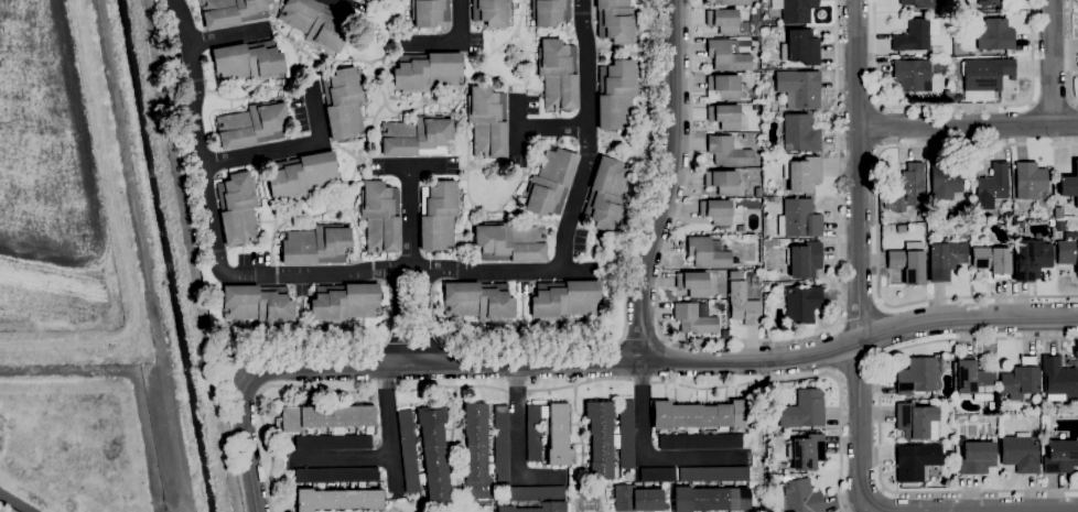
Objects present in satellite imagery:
building: (366, 0)
building: (367, 0)
road: (335, 2)
building: (732, 2)
building: (988, 2)
building: (920, 3)
road: (592, 9)
building: (753, 10)
building: (231, 11)
building: (797, 11)
building: (494, 12)
building: (550, 12)
building: (430, 13)
building: (616, 21)
building: (726, 21)
building: (315, 23)
building: (916, 34)
building: (995, 34)
road: (225, 36)
road: (454, 42)
building: (800, 47)
road: (1070, 53)
building: (726, 55)
building: (248, 62)
road: (1052, 62)
building: (427, 72)
building: (559, 73)
building: (987, 73)
building: (910, 74)
building: (724, 86)
building: (800, 87)
building: (616, 94)
building: (948, 95)
building: (343, 102)
road: (951, 106)
building: (756, 107)
building: (724, 116)
building: (487, 121)
building: (254, 124)
road: (968, 124)
road: (518, 126)
road: (553, 127)
road: (878, 127)
building: (800, 133)
road: (198, 135)
building: (417, 137)
road: (587, 137)
road: (290, 148)
building: (727, 151)
road: (412, 167)
building: (802, 174)
building: (301, 175)
building: (1030, 179)
building: (947, 181)
building: (550, 182)
road: (670, 182)
building: (722, 182)
building: (992, 184)
building: (1070, 184)
building: (907, 187)
park: (84, 193)
building: (607, 194)
building: (238, 208)
building: (716, 211)
building: (1058, 213)
building: (439, 215)
building: (380, 216)
road: (409, 218)
building: (799, 218)
road: (876, 226)
building: (1058, 226)
building: (741, 228)
building: (901, 228)
building: (509, 242)
building: (316, 244)
building: (1068, 250)
building: (708, 252)
road: (859, 255)
building: (945, 259)
building: (1030, 259)
building: (806, 260)
building: (991, 260)
building: (907, 264)
road: (617, 268)
road: (392, 269)
building: (693, 283)
building: (564, 299)
building: (479, 301)
building: (344, 302)
building: (258, 304)
building: (743, 304)
building: (802, 304)
road: (398, 316)
road: (422, 317)
road: (860, 317)
building: (693, 318)
building: (724, 333)
road: (642, 338)
road: (741, 340)
road: (311, 342)
road: (382, 346)
road: (442, 346)
road: (412, 347)
road: (837, 350)
road: (736, 360)
road: (858, 367)
road: (317, 370)
building: (917, 377)
building: (973, 379)
building: (1020, 379)
building: (1058, 379)
road: (487, 386)
building: (804, 410)
building: (700, 416)
building: (326, 418)
road: (880, 421)
building: (917, 421)
building: (277, 428)
road: (391, 432)
building: (533, 433)
building: (558, 434)
building: (626, 434)
road: (580, 436)
building: (1061, 436)
building: (601, 438)
building: (333, 442)
road: (517, 442)
building: (700, 442)
building: (500, 443)
road: (841, 444)
road: (248, 446)
road: (759, 447)
road: (452, 448)
building: (408, 450)
building: (806, 451)
road: (752, 453)
building: (1021, 453)
building: (433, 454)
building: (476, 454)
building: (1060, 456)
building: (977, 457)
road: (344, 458)
road: (645, 458)
building: (916, 460)
building: (713, 473)
building: (336, 475)
building: (658, 475)
building: (646, 484)
road: (586, 491)
building: (537, 492)
building: (800, 497)
building: (635, 498)
building: (338, 499)
building: (710, 499)
building: (538, 508)
road: (457, 511)
road: (1027, 511)

